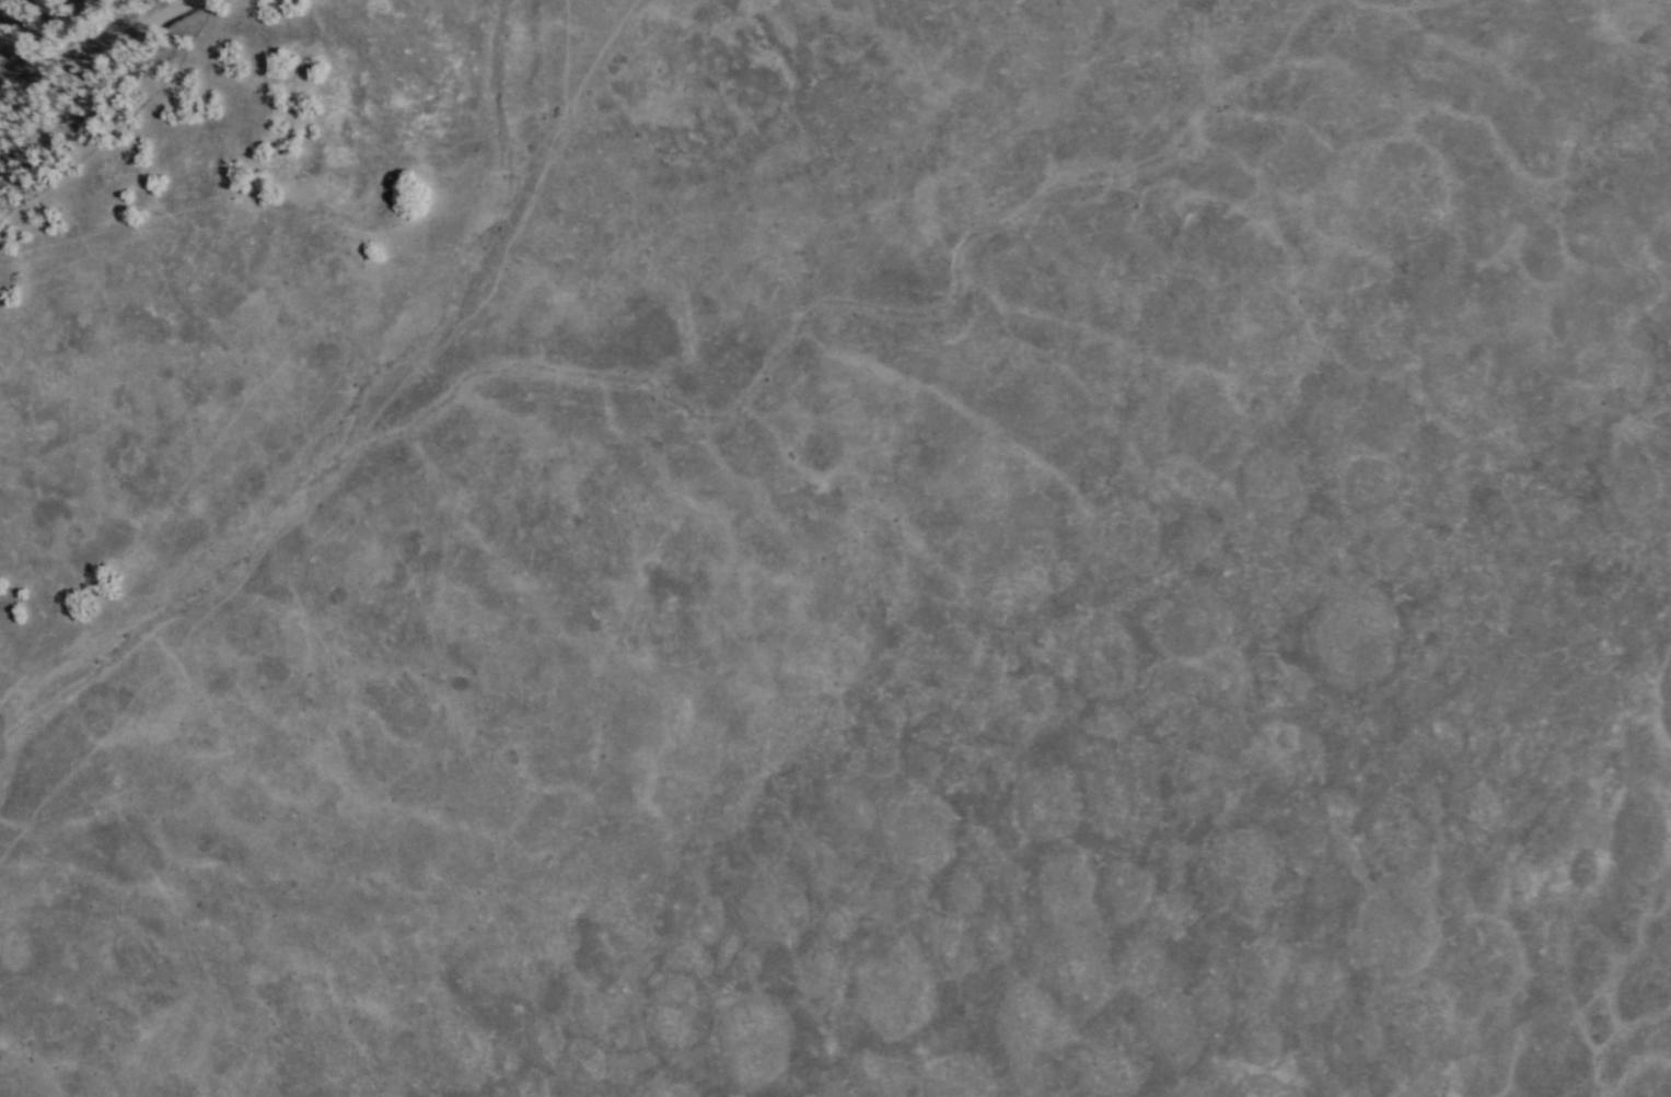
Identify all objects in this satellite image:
road: (95, 47)

